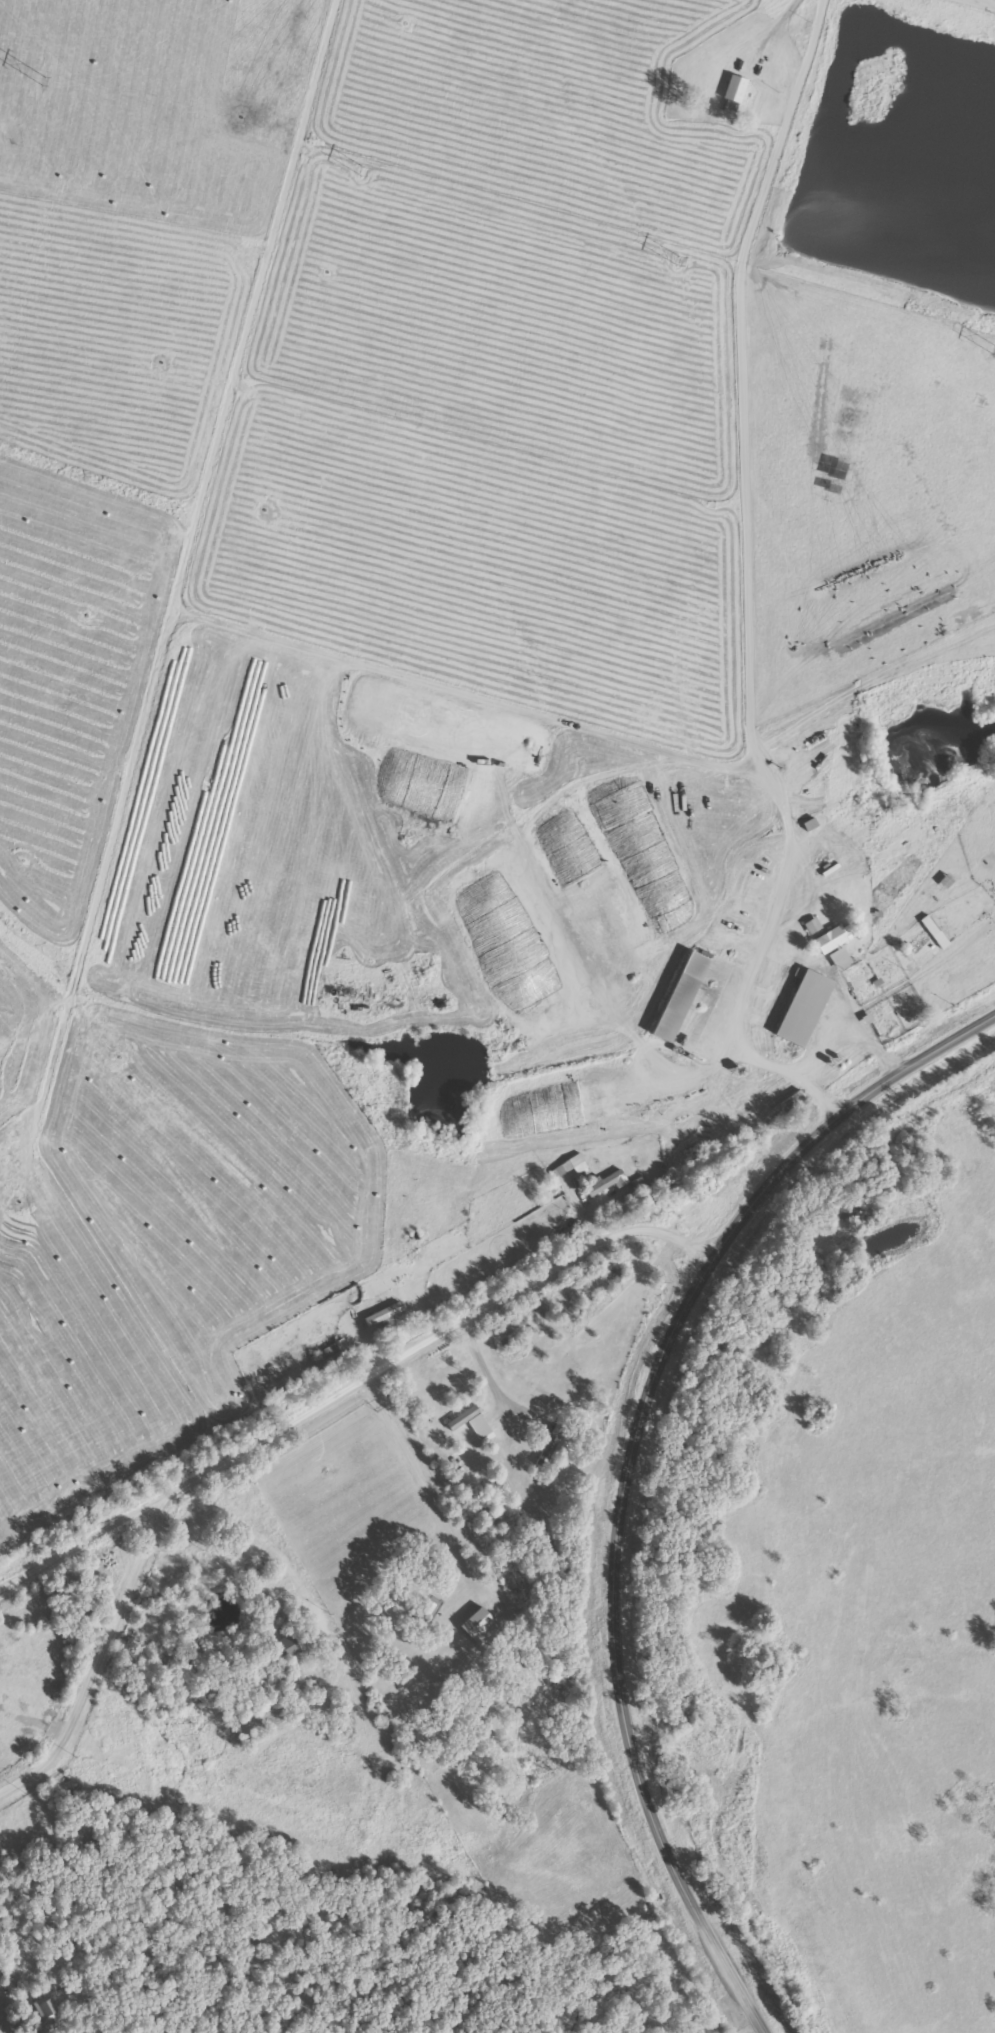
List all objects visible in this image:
road: (184, 32)
building: (734, 89)
road: (527, 295)
building: (644, 864)
building: (621, 877)
building: (604, 913)
building: (830, 939)
building: (564, 958)
building: (532, 963)
building: (674, 1007)
building: (802, 1007)
road: (825, 1026)
building: (557, 1097)
building: (576, 1166)
building: (604, 1183)
road: (354, 1376)
building: (470, 1422)
building: (547, 1450)
road: (630, 1467)
road: (295, 1557)
road: (485, 1568)
building: (427, 1617)
building: (286, 1646)
road: (98, 1652)
road: (413, 1730)
road: (292, 1826)
building: (46, 2008)

